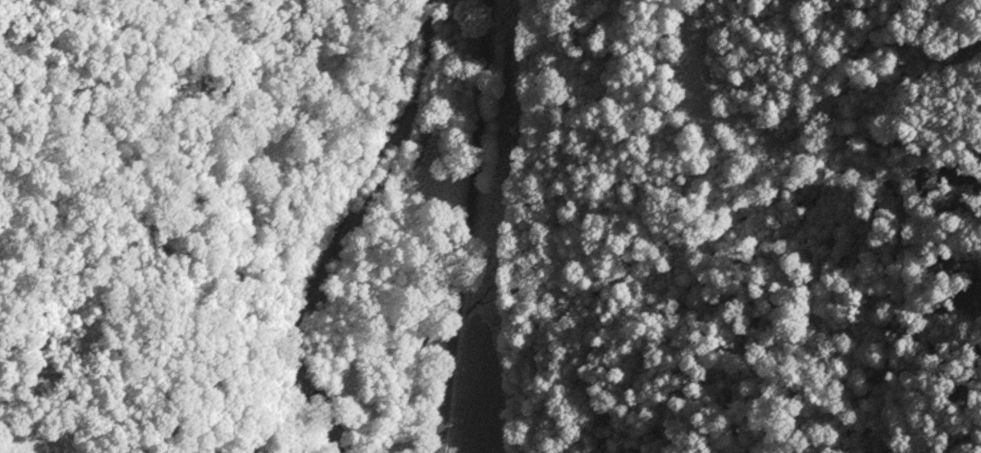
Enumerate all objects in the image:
road: (467, 227)

